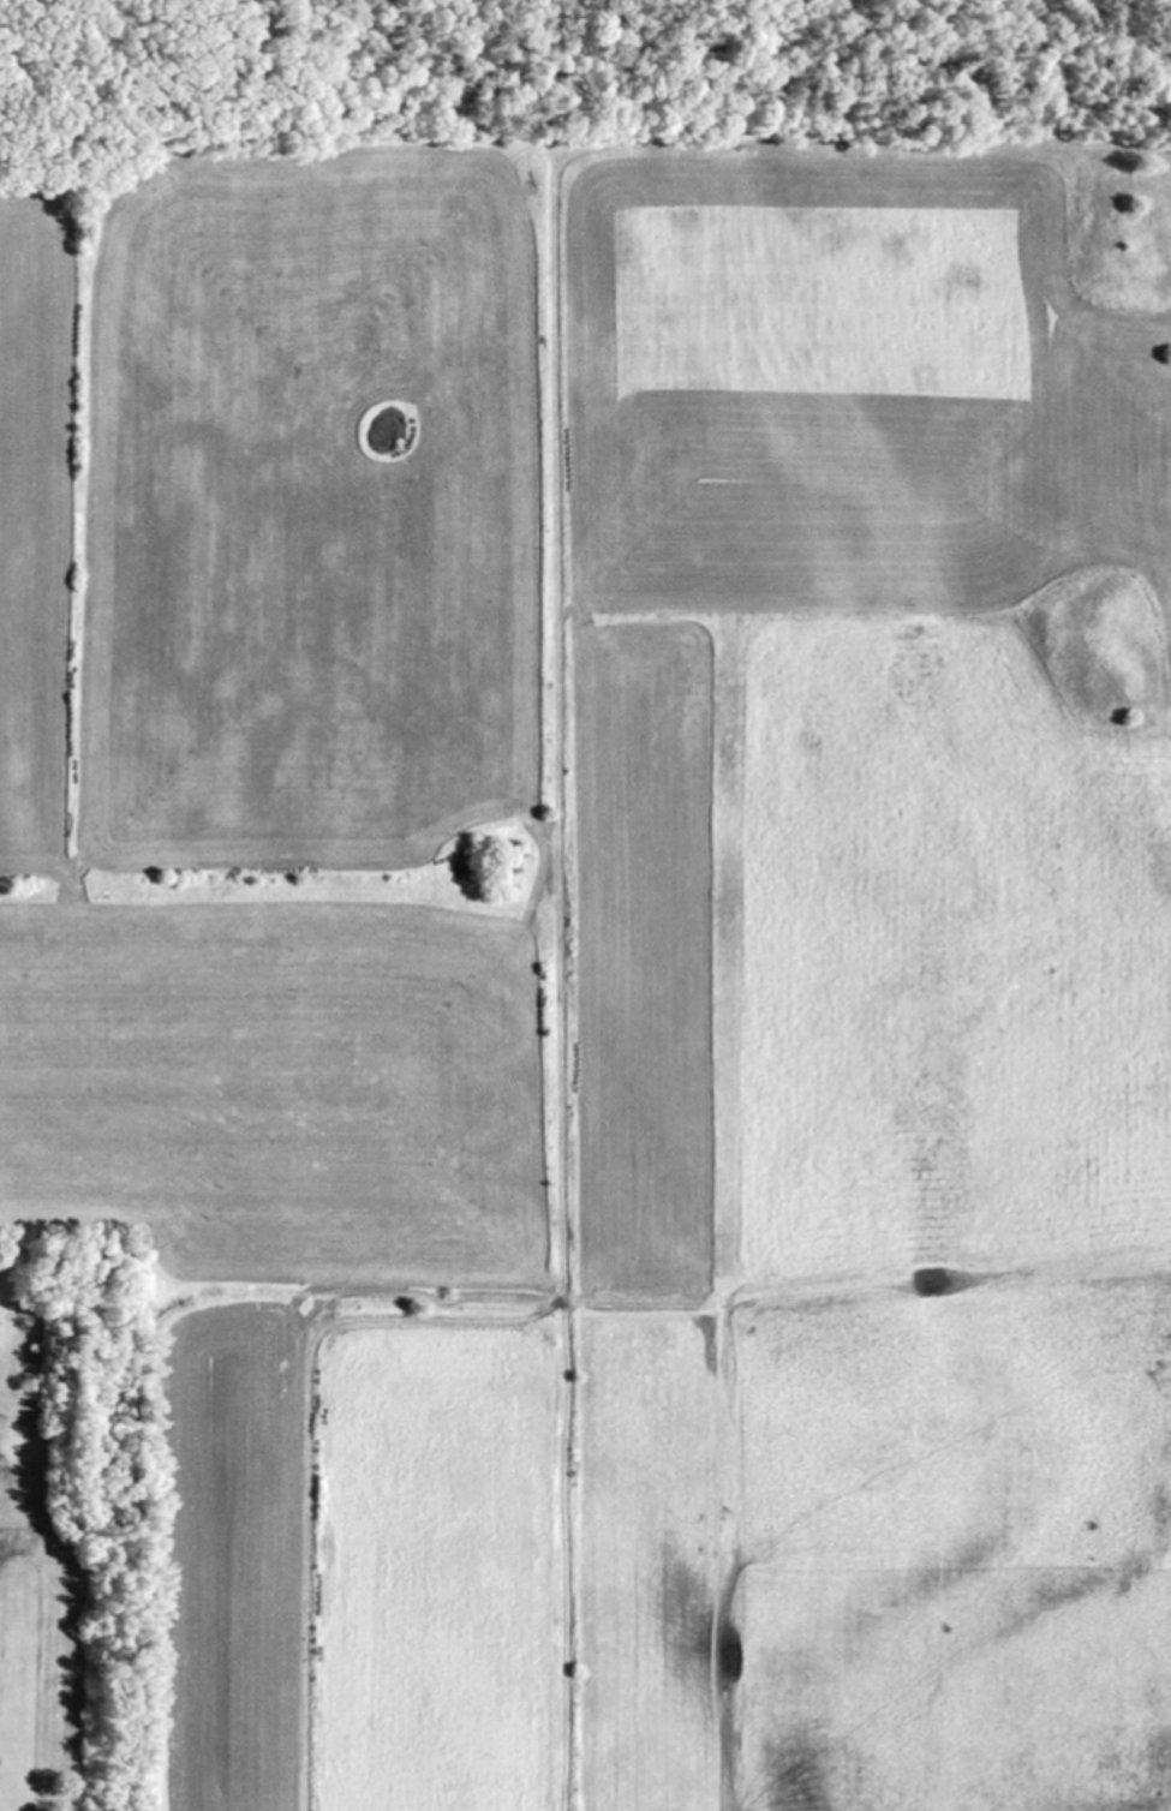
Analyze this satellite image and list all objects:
park: (73, 1531)

